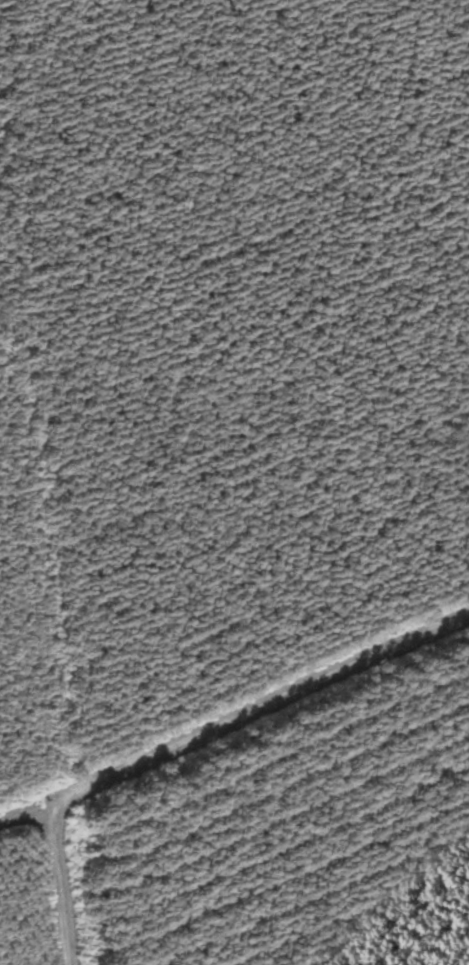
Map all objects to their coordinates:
road: (230, 717)
road: (52, 889)

